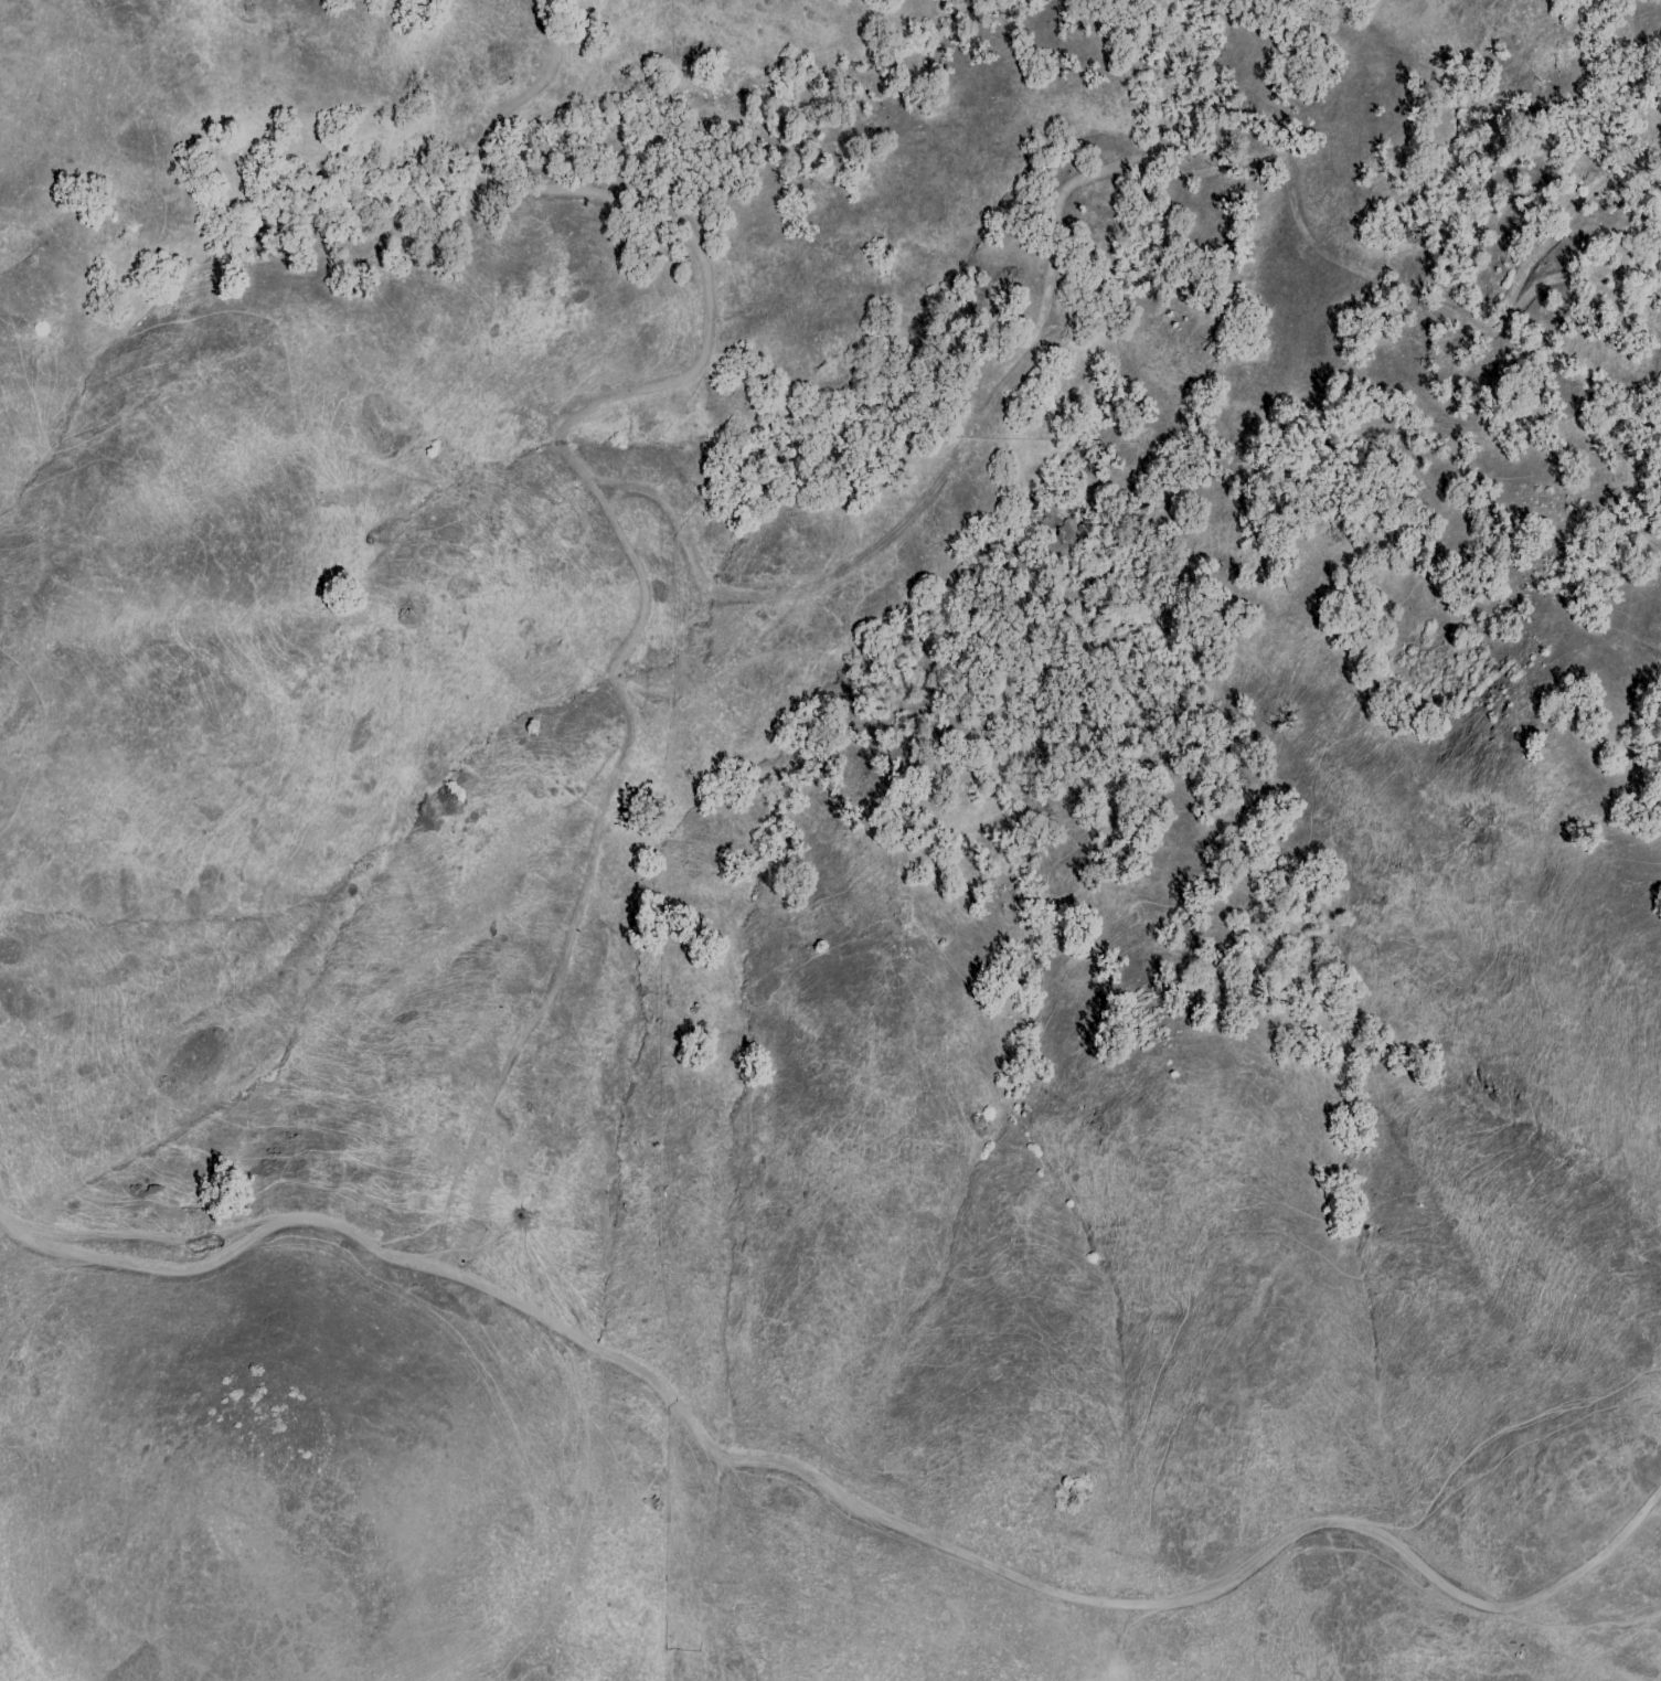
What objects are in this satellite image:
road: (826, 1487)

